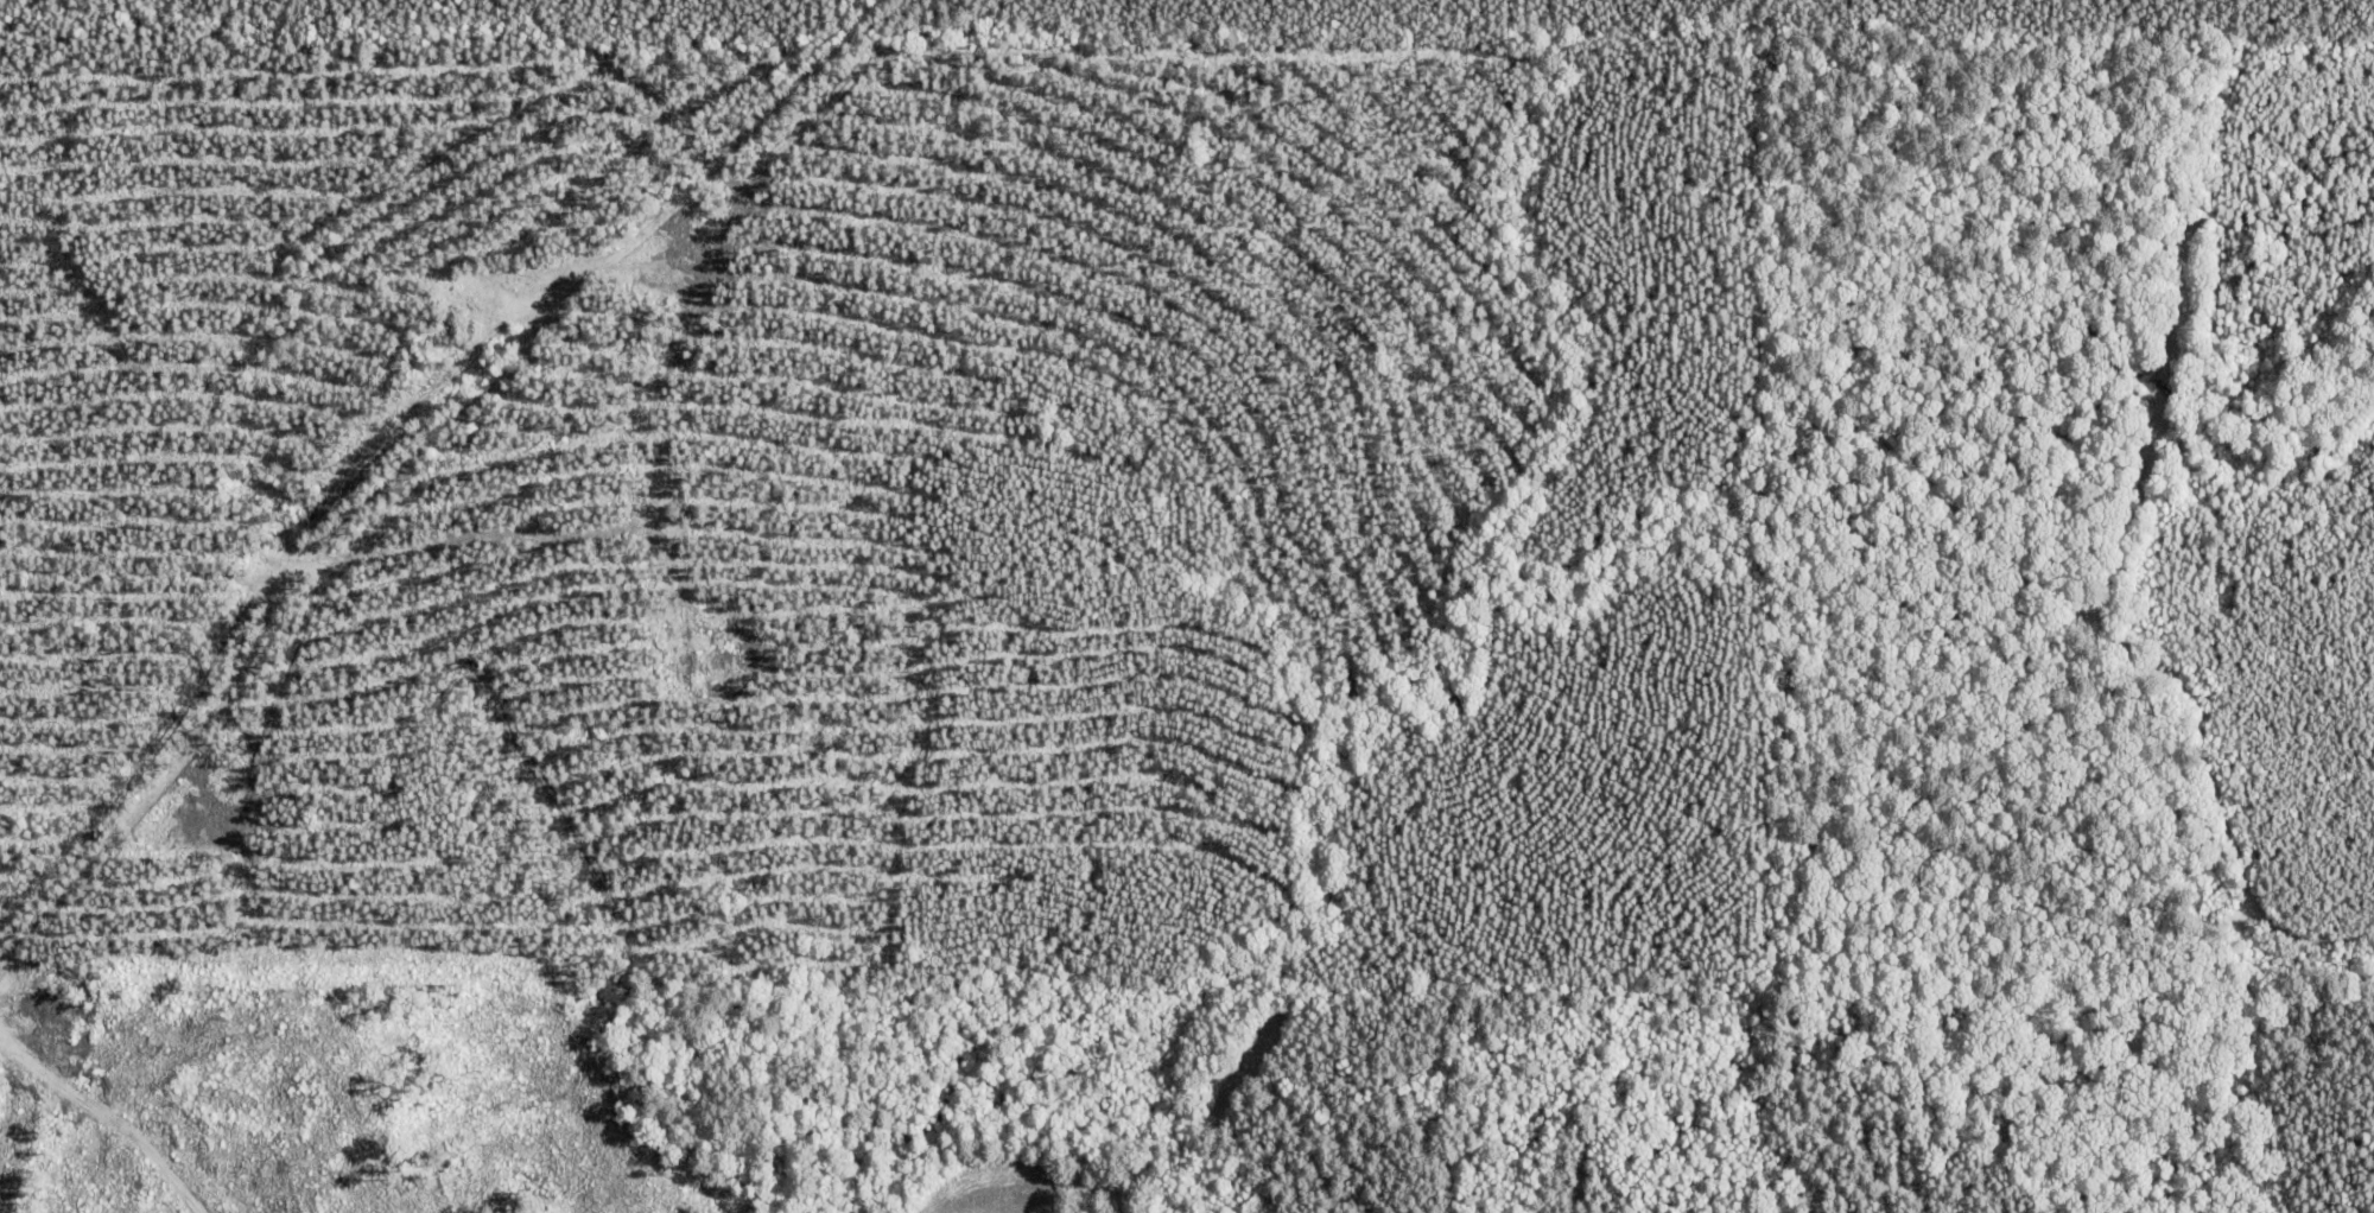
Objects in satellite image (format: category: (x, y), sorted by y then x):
road: (578, 292)
road: (153, 783)

